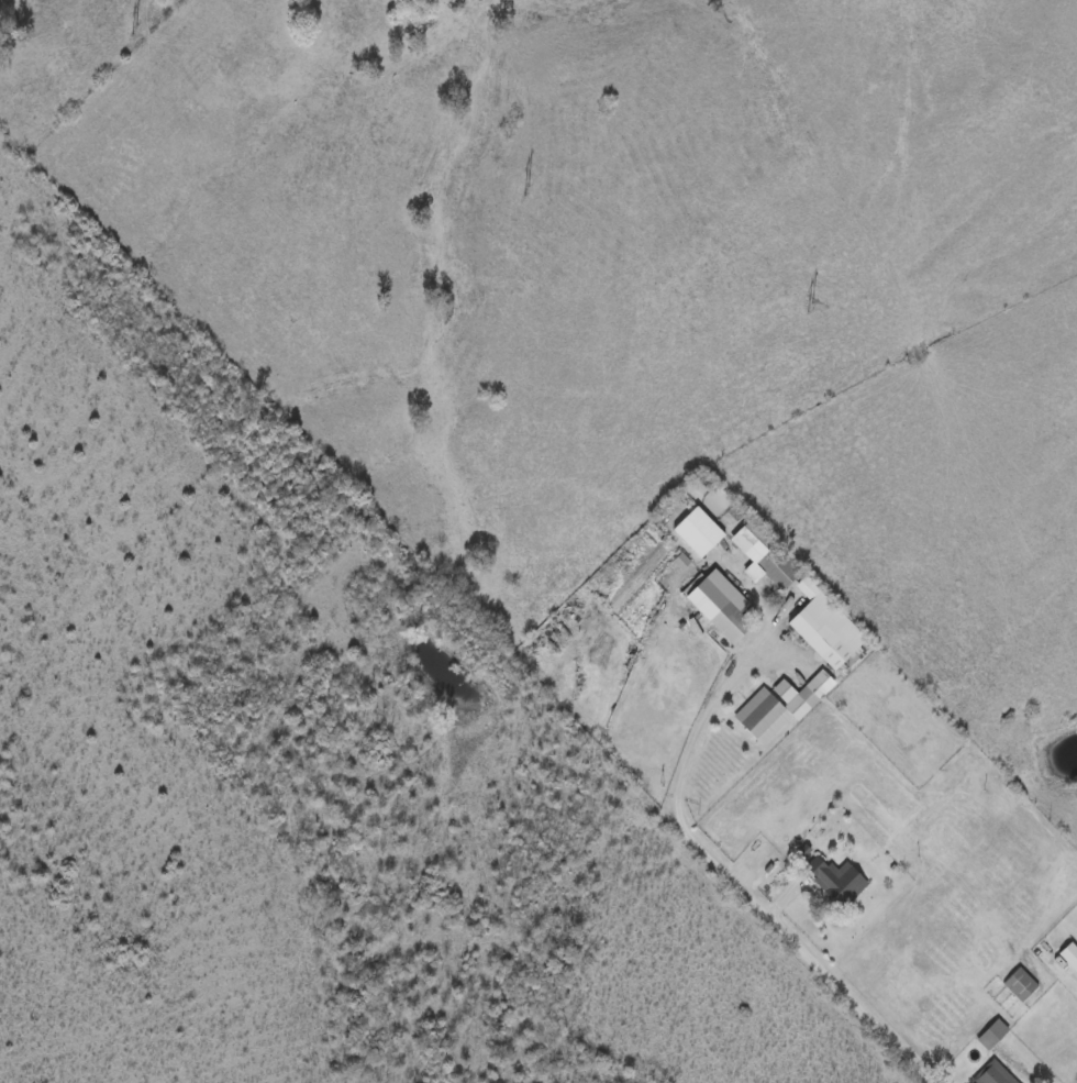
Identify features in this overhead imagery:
power tower: (134, 31)
power tower: (528, 195)
power tower: (809, 312)
building: (769, 553)
building: (718, 601)
building: (823, 623)
building: (774, 705)
building: (835, 875)
road: (728, 883)
road: (782, 899)
building: (967, 952)
building: (1068, 952)
building: (970, 958)
building: (1019, 980)
building: (990, 1030)
road: (1021, 1070)
building: (993, 1073)

